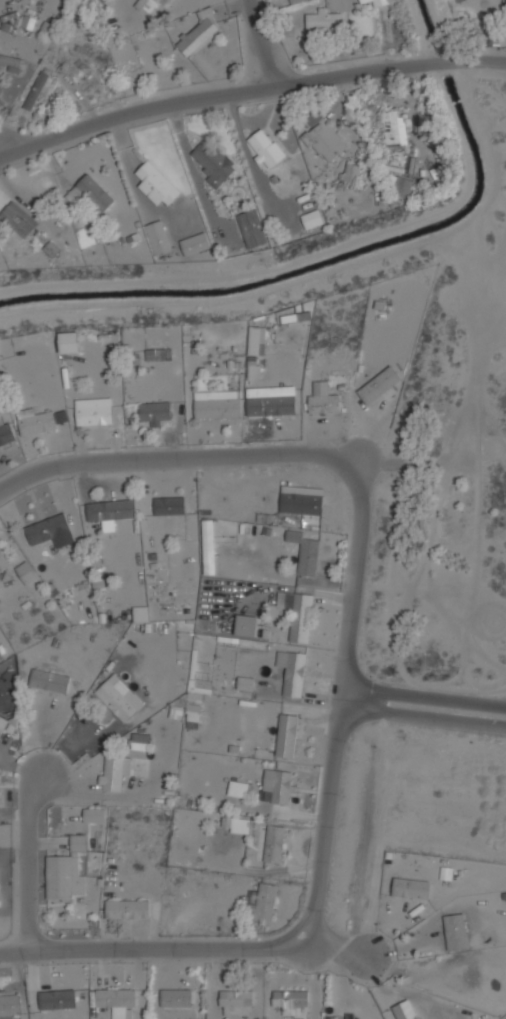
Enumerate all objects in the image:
building: (286, 0)
building: (362, 0)
building: (296, 1)
building: (379, 2)
building: (147, 5)
building: (325, 21)
building: (198, 33)
road: (256, 42)
building: (12, 62)
road: (248, 87)
building: (37, 91)
building: (394, 127)
building: (323, 138)
building: (265, 148)
building: (212, 162)
building: (352, 172)
building: (157, 184)
building: (401, 186)
building: (95, 192)
building: (18, 219)
building: (312, 219)
building: (252, 228)
building: (158, 237)
building: (195, 244)
building: (154, 354)
building: (379, 385)
building: (322, 398)
building: (217, 404)
building: (271, 405)
building: (154, 413)
building: (94, 415)
building: (43, 421)
building: (6, 432)
road: (179, 456)
building: (302, 500)
building: (169, 505)
building: (110, 512)
building: (48, 529)
building: (208, 547)
building: (308, 556)
road: (359, 557)
building: (3, 561)
building: (26, 572)
building: (140, 613)
building: (298, 614)
building: (246, 625)
building: (1, 656)
building: (292, 672)
road: (343, 675)
building: (50, 681)
building: (246, 684)
building: (116, 699)
road: (423, 704)
building: (193, 716)
building: (2, 724)
building: (287, 736)
building: (140, 741)
building: (120, 770)
building: (238, 789)
building: (280, 789)
building: (95, 815)
road: (327, 821)
building: (236, 825)
building: (274, 843)
road: (31, 859)
building: (66, 872)
building: (410, 888)
building: (262, 902)
building: (128, 909)
building: (455, 931)
road: (156, 946)
building: (176, 998)
building: (57, 999)
building: (117, 1001)
building: (291, 1001)
building: (235, 1002)
building: (9, 1005)
building: (404, 1010)

